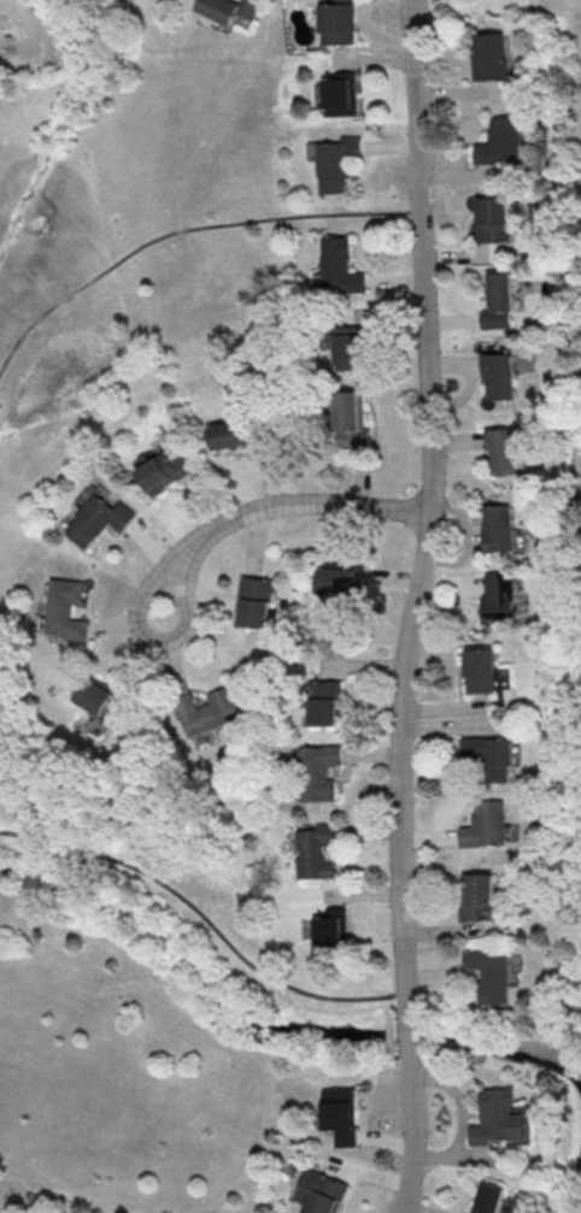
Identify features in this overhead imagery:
building: (230, 8)
building: (338, 22)
building: (487, 57)
building: (341, 94)
building: (497, 142)
building: (336, 164)
building: (493, 219)
road: (184, 231)
building: (340, 265)
building: (498, 302)
building: (350, 347)
building: (495, 377)
building: (347, 420)
building: (230, 434)
building: (498, 452)
building: (163, 471)
road: (423, 505)
road: (264, 507)
building: (100, 519)
building: (491, 526)
building: (338, 577)
building: (492, 595)
building: (257, 601)
building: (66, 608)
park: (10, 614)
building: (476, 670)
building: (96, 697)
building: (327, 703)
building: (210, 711)
building: (486, 755)
building: (319, 773)
building: (483, 824)
building: (318, 852)
building: (481, 897)
road: (207, 920)
building: (334, 930)
building: (492, 974)
road: (411, 1035)
building: (340, 1115)
building: (500, 1118)
road: (413, 1136)
building: (321, 1191)
building: (491, 1197)

